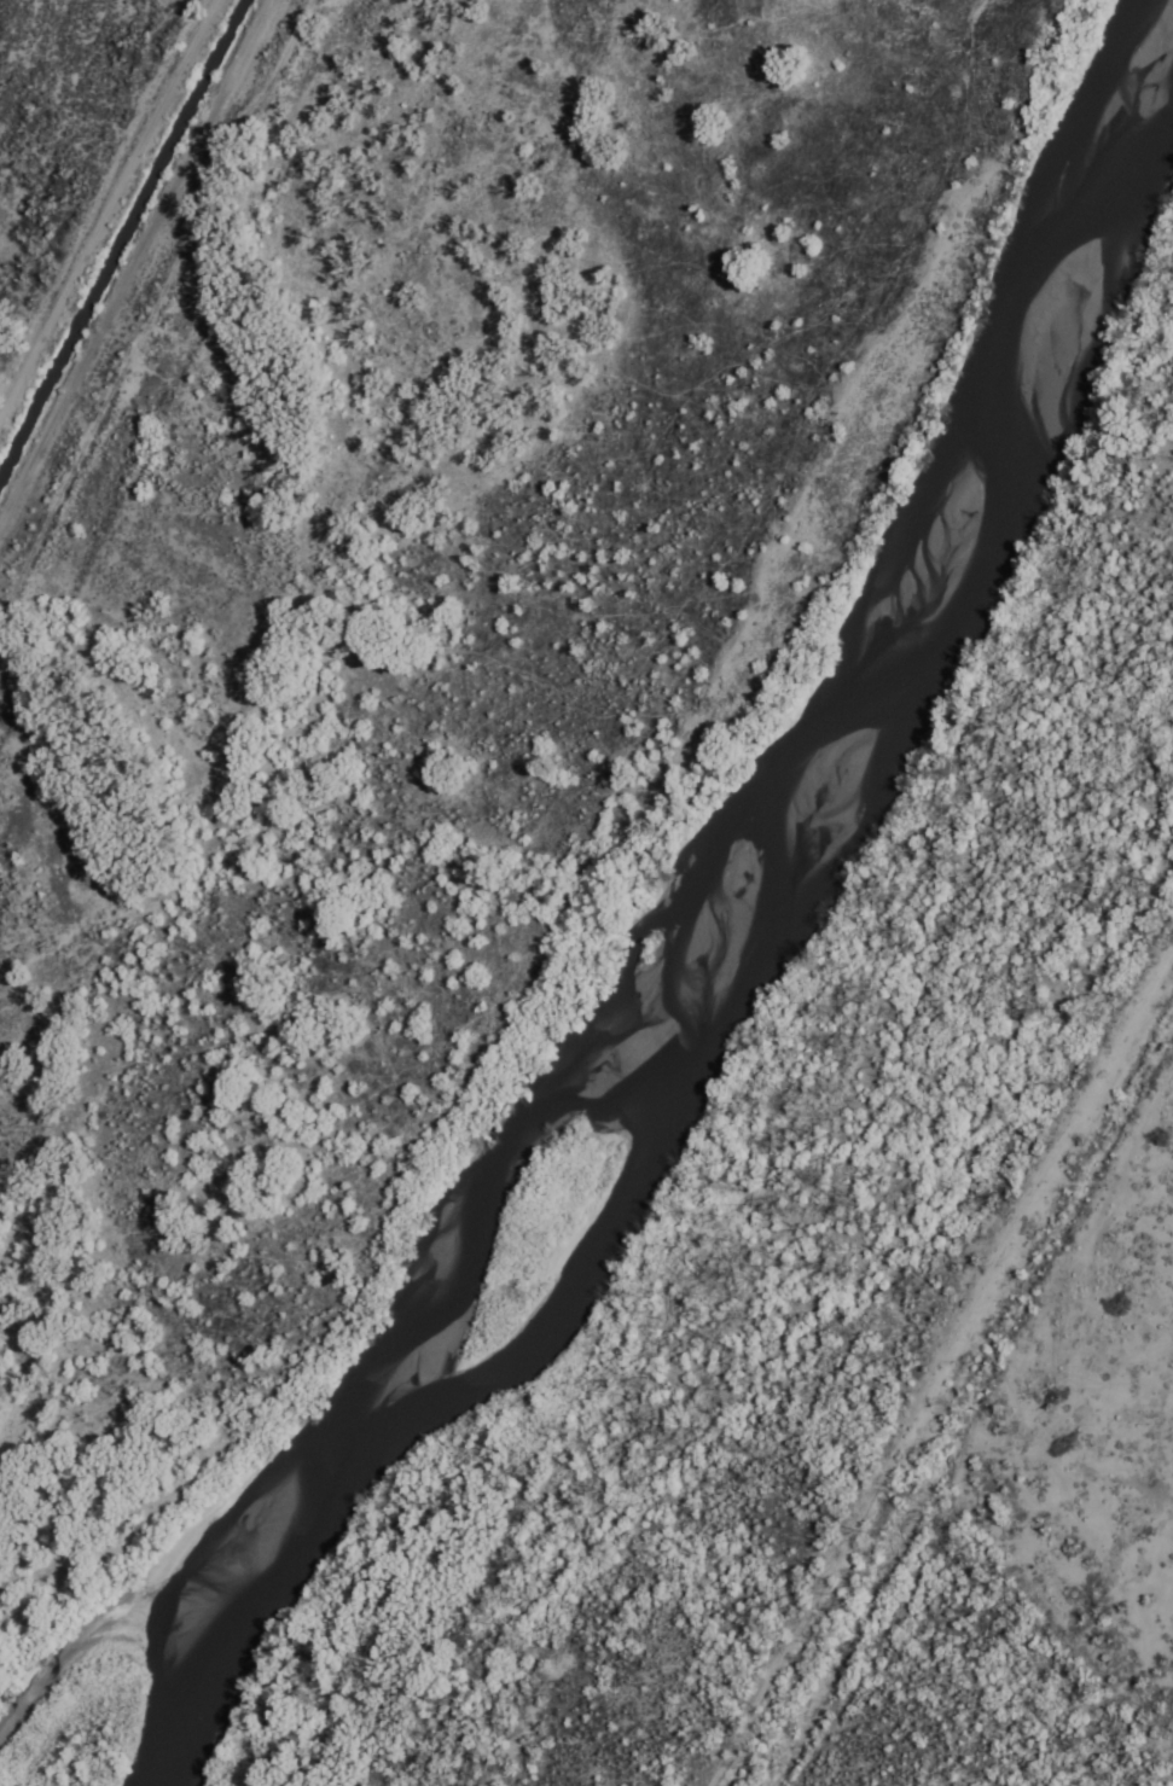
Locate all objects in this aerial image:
river: (708, 959)
river: (140, 1625)

